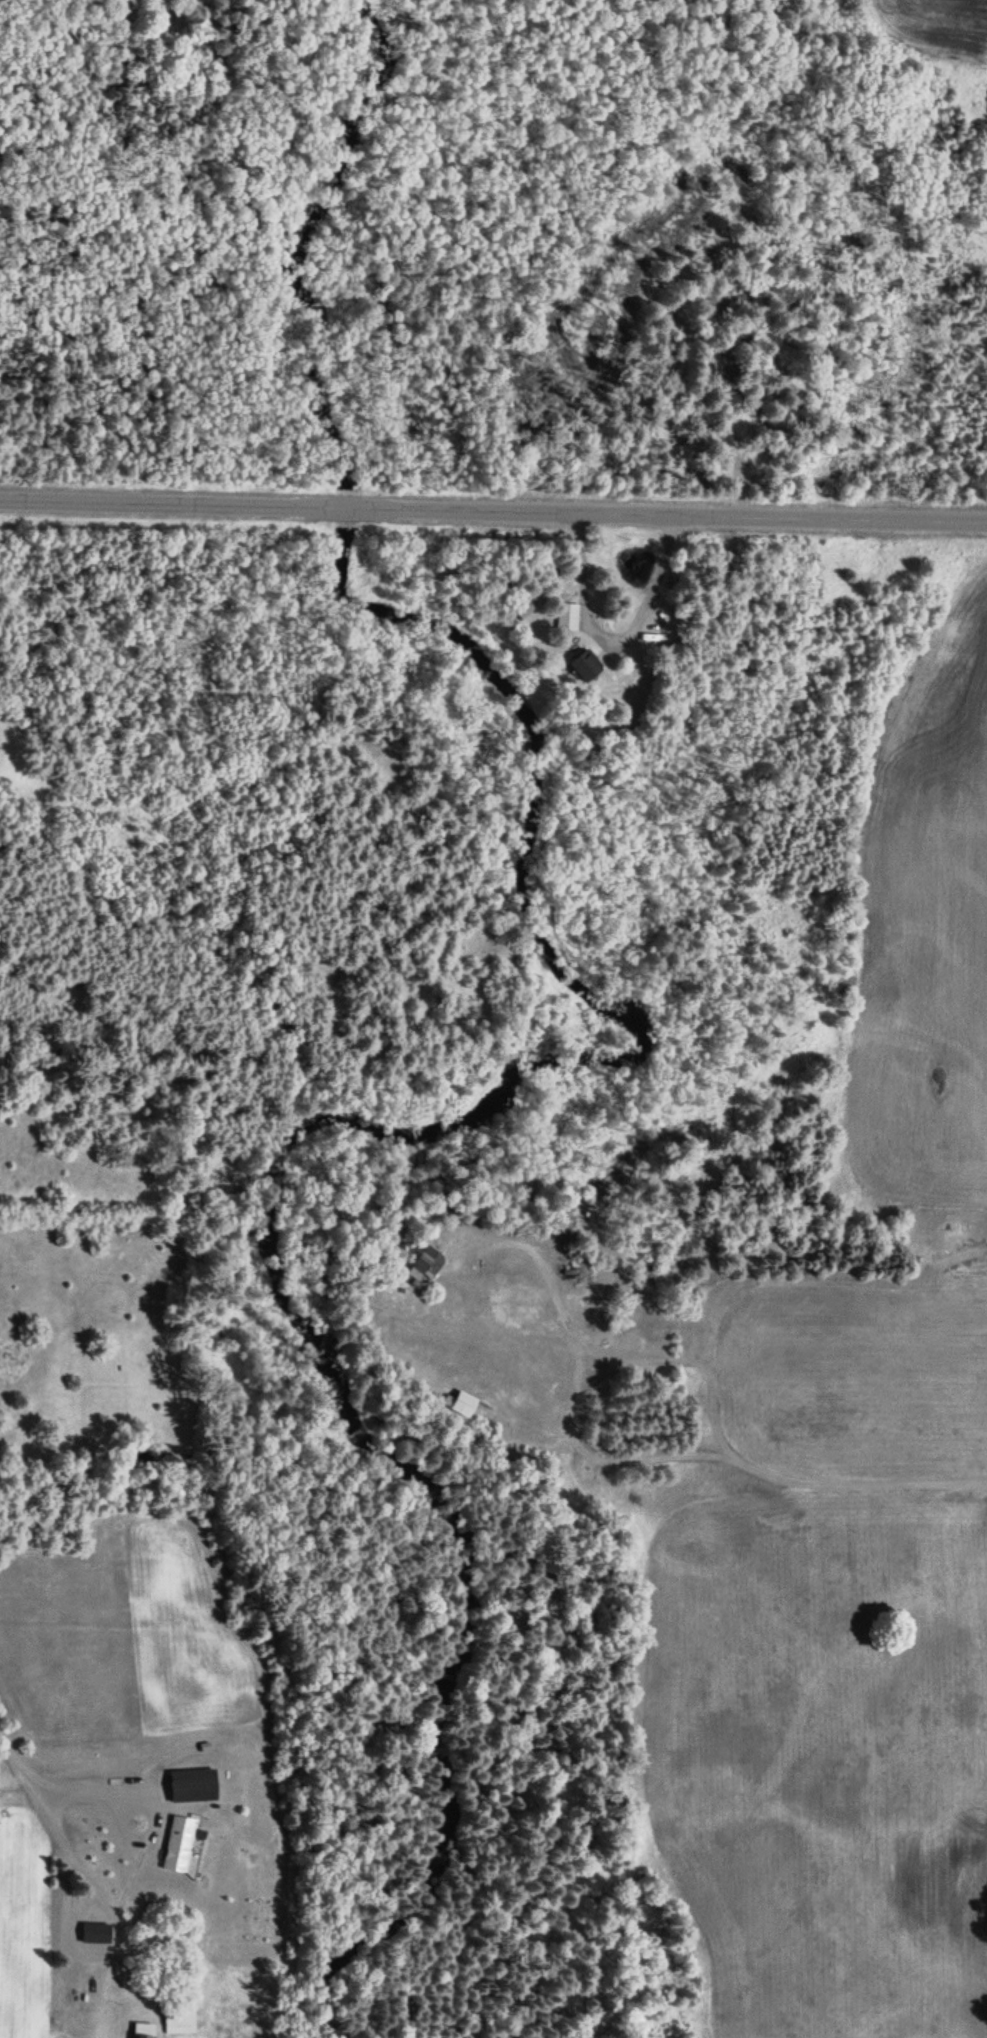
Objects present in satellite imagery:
river: (311, 237)
road: (185, 506)
river: (341, 508)
road: (679, 516)
building: (519, 607)
building: (563, 615)
road: (611, 642)
building: (581, 660)
road: (159, 1041)
river: (317, 1118)
road: (444, 1244)
building: (422, 1256)
building: (456, 1401)
road: (706, 1416)
building: (191, 1779)
road: (30, 1790)
road: (74, 1793)
road: (152, 1813)
building: (175, 1840)
building: (92, 1928)
road: (96, 1955)
building: (176, 2014)
building: (140, 2028)

